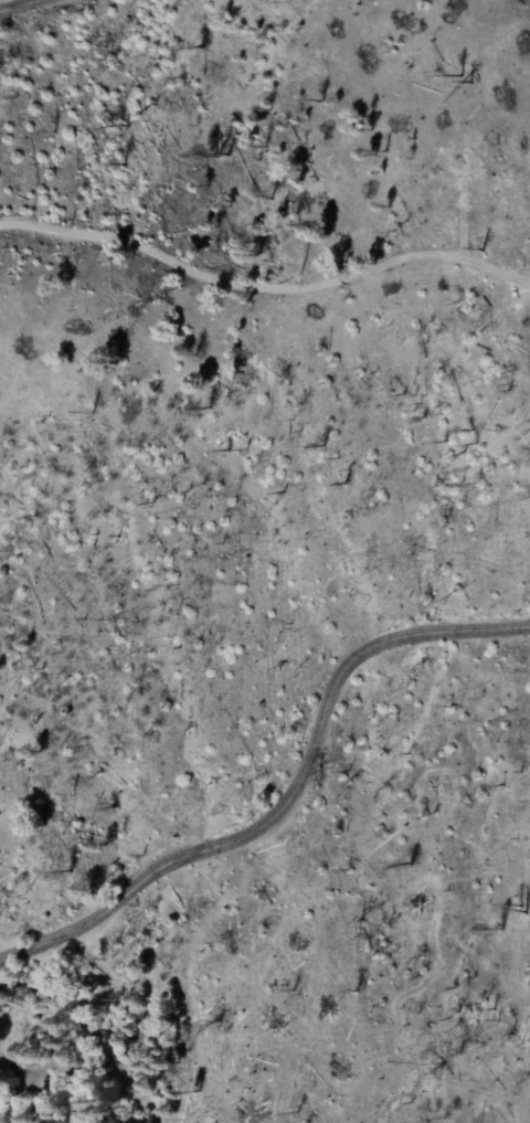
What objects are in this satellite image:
road: (15, 3)
road: (264, 285)
road: (293, 795)
road: (191, 993)
road: (22, 1102)
road: (57, 1102)

